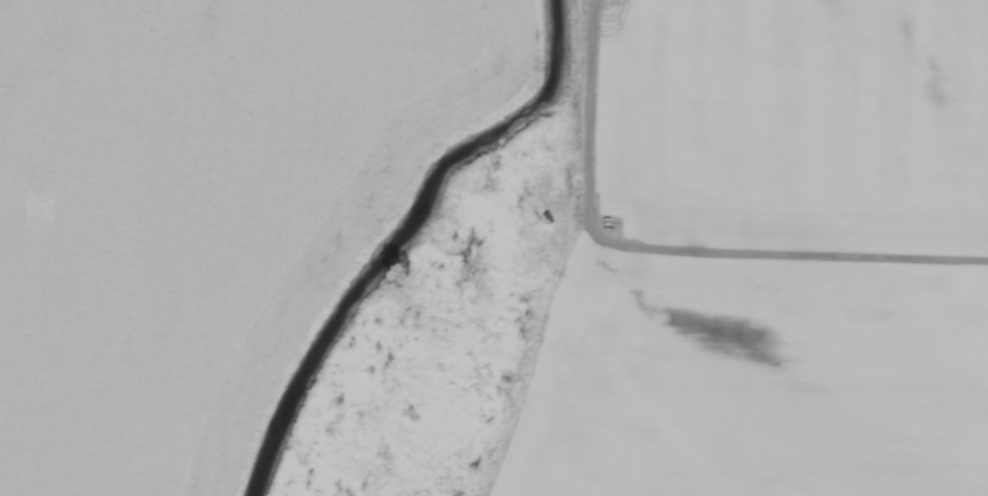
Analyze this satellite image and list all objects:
road: (575, 88)

